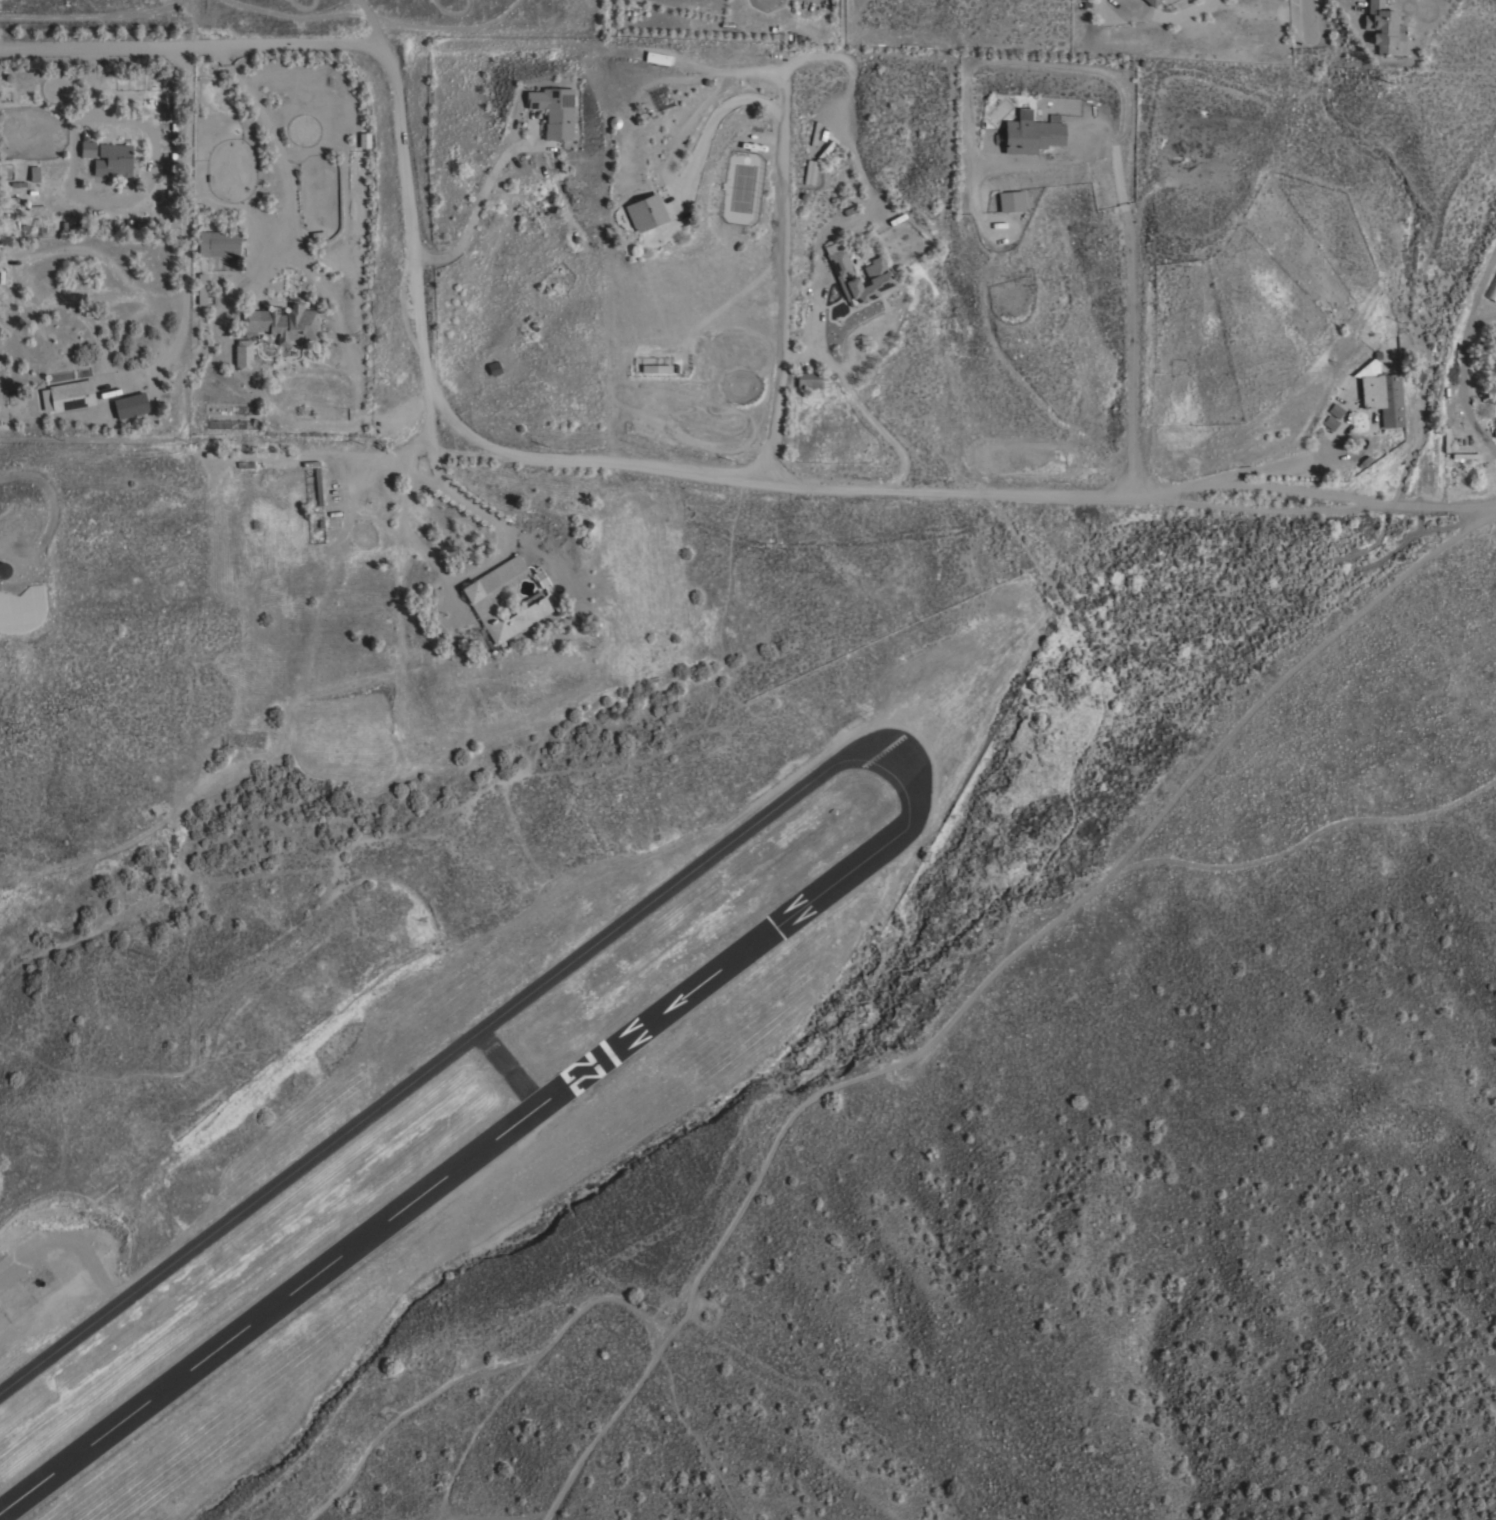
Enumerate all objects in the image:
building: (1150, 2)
road: (1161, 14)
road: (1307, 20)
building: (1381, 27)
road: (592, 46)
building: (553, 111)
road: (707, 127)
building: (1030, 133)
building: (363, 140)
building: (86, 146)
building: (112, 160)
building: (33, 174)
road: (479, 199)
building: (1010, 201)
building: (643, 212)
road: (188, 218)
building: (217, 243)
building: (876, 274)
building: (200, 289)
road: (420, 305)
road: (1130, 308)
building: (282, 323)
building: (242, 355)
building: (492, 367)
building: (807, 380)
road: (1457, 380)
building: (1380, 392)
building: (67, 395)
building: (131, 407)
building: (1334, 410)
building: (1329, 423)
road: (1246, 465)
road: (800, 485)
building: (316, 486)
road: (1272, 489)
road: (1437, 503)
road: (1270, 512)
building: (531, 603)
building: (21, 609)
road: (972, 995)
airport taxiway: (460, 1039)
airport: (446, 1062)
airport taxiway: (502, 1068)
airport runway: (453, 1166)

